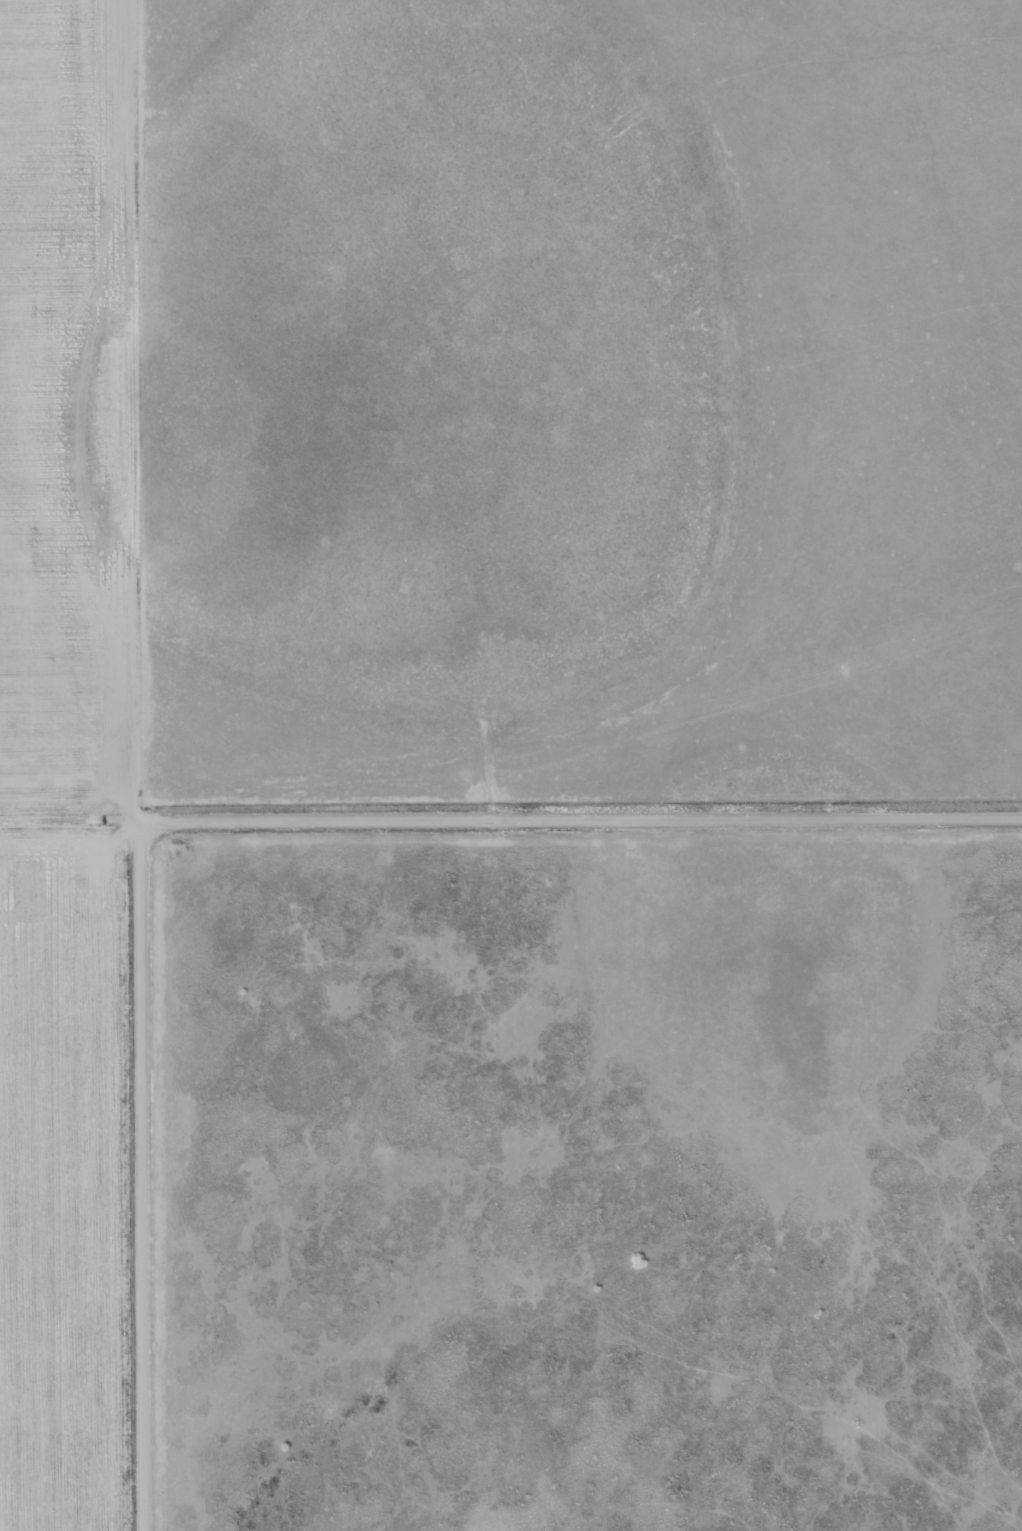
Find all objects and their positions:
road: (134, 408)
road: (594, 815)
road: (83, 817)
road: (144, 1170)

